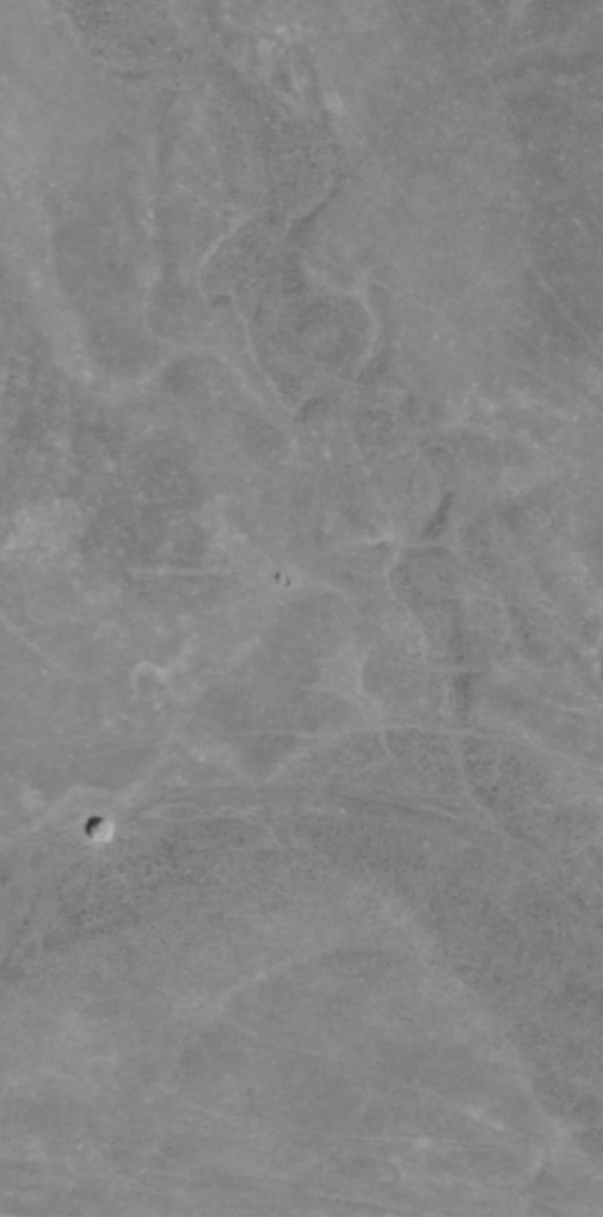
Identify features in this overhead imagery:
road: (1, 1216)

